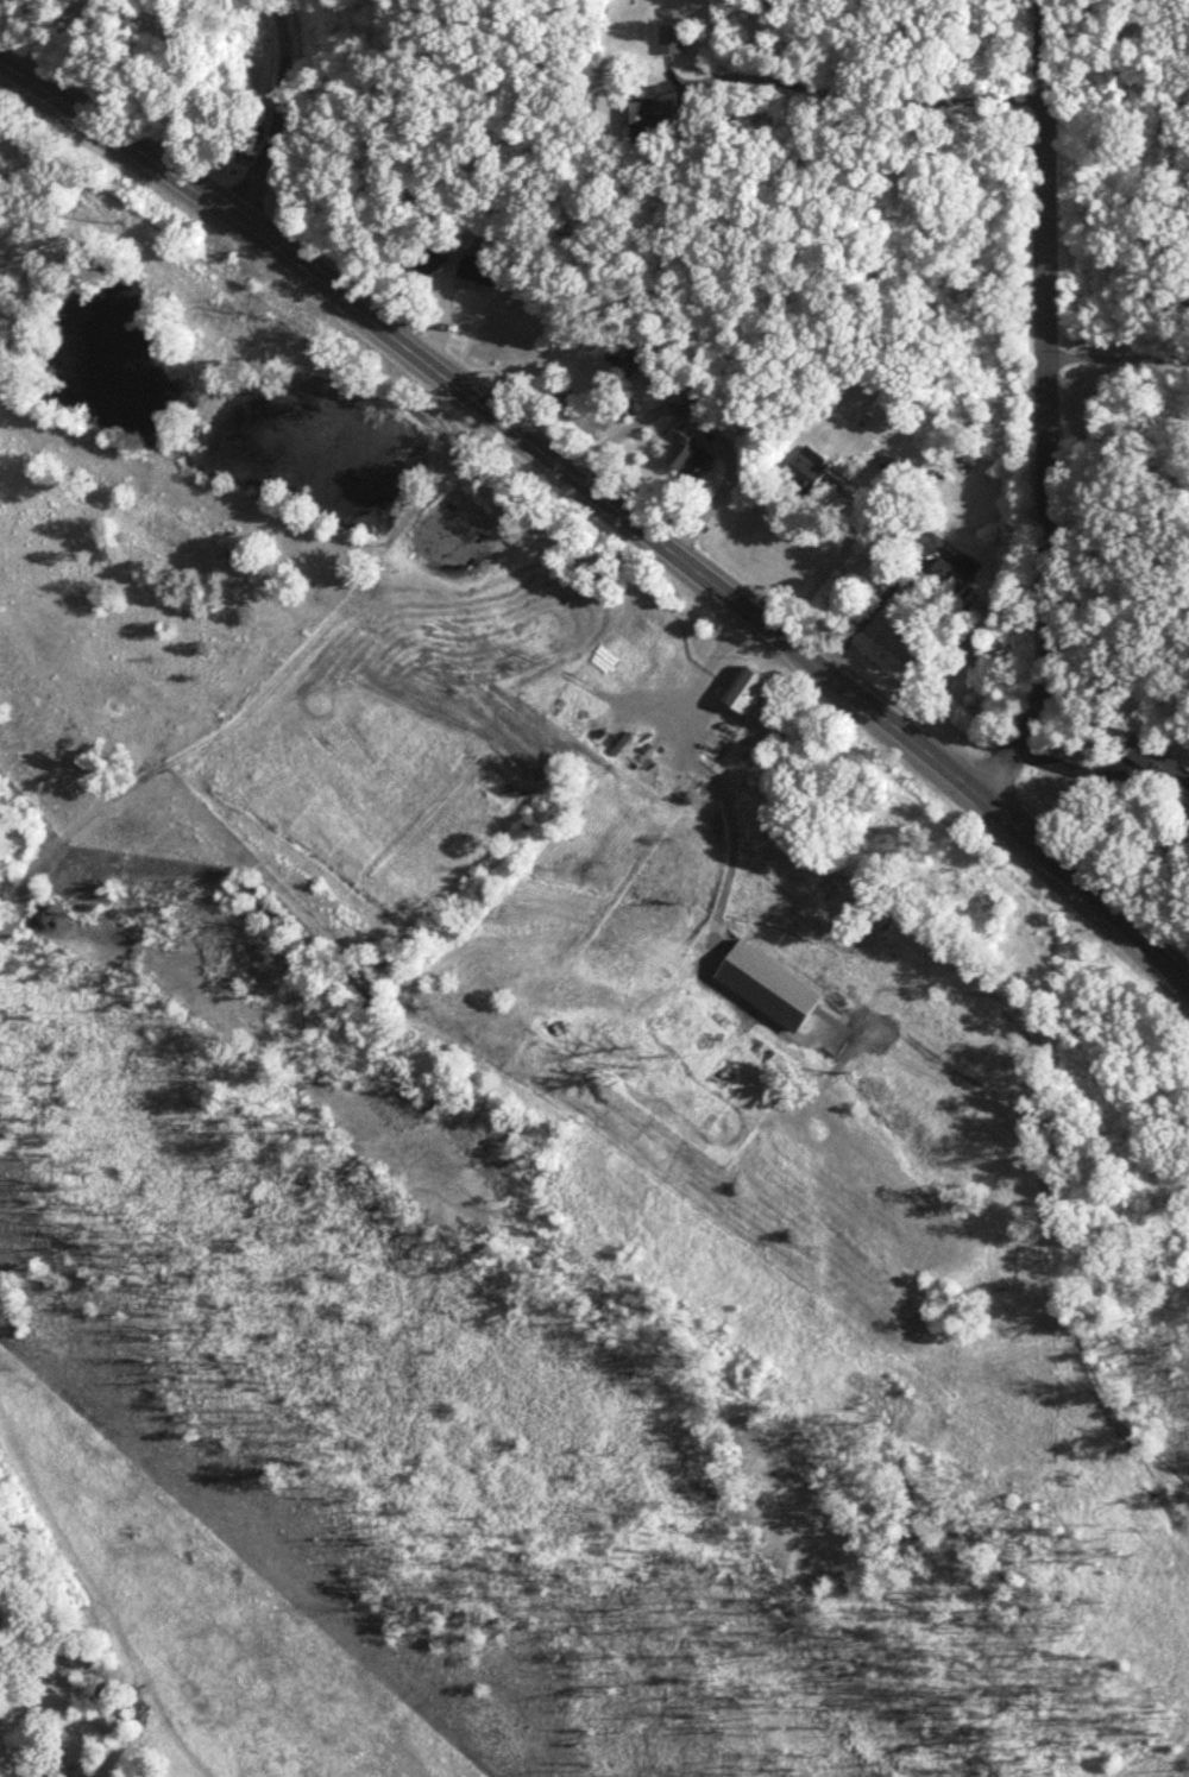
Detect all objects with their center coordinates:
building: (671, 40)
road: (863, 97)
building: (650, 111)
road: (277, 113)
building: (426, 261)
building: (473, 270)
road: (1118, 357)
building: (625, 364)
road: (1046, 408)
building: (686, 456)
building: (806, 468)
road: (611, 505)
road: (850, 530)
building: (950, 579)
building: (647, 641)
building: (631, 661)
building: (747, 691)
building: (1155, 762)
park: (1184, 1146)

